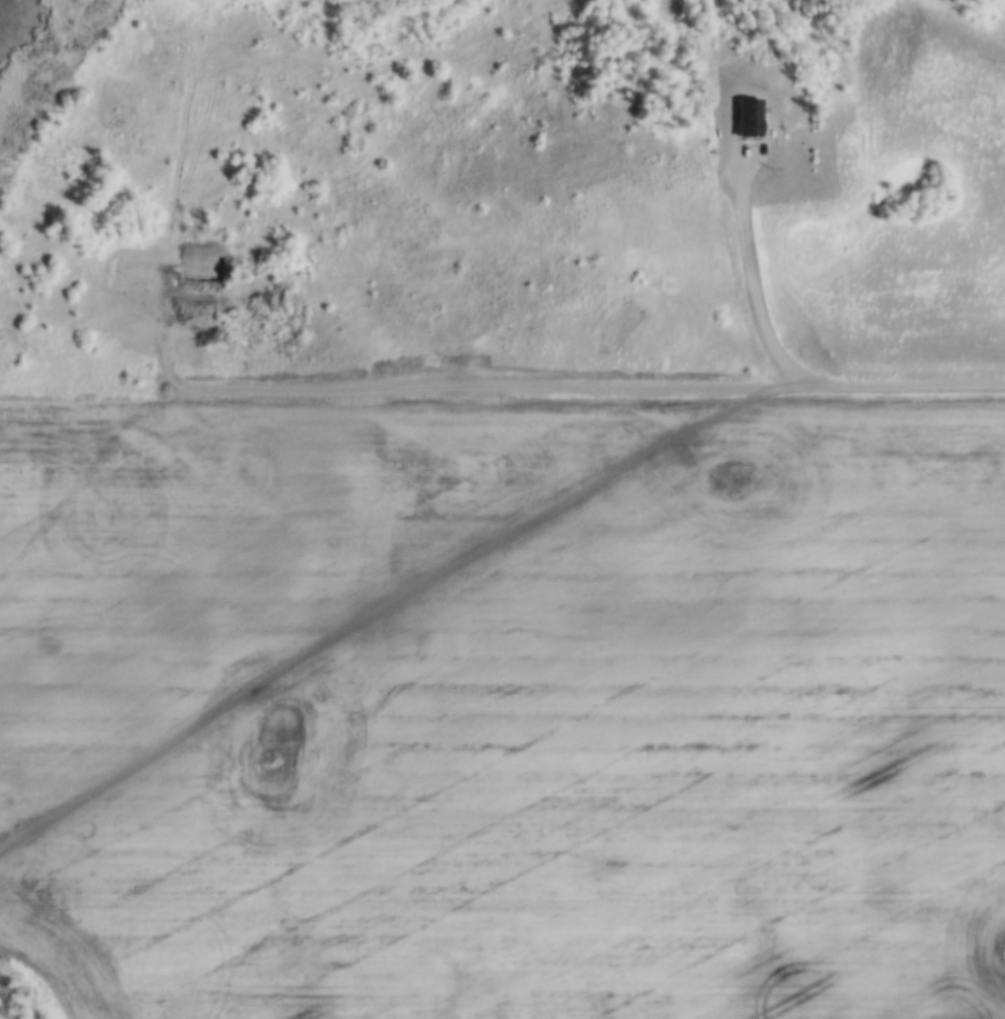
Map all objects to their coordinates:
building: (747, 114)
road: (790, 368)

